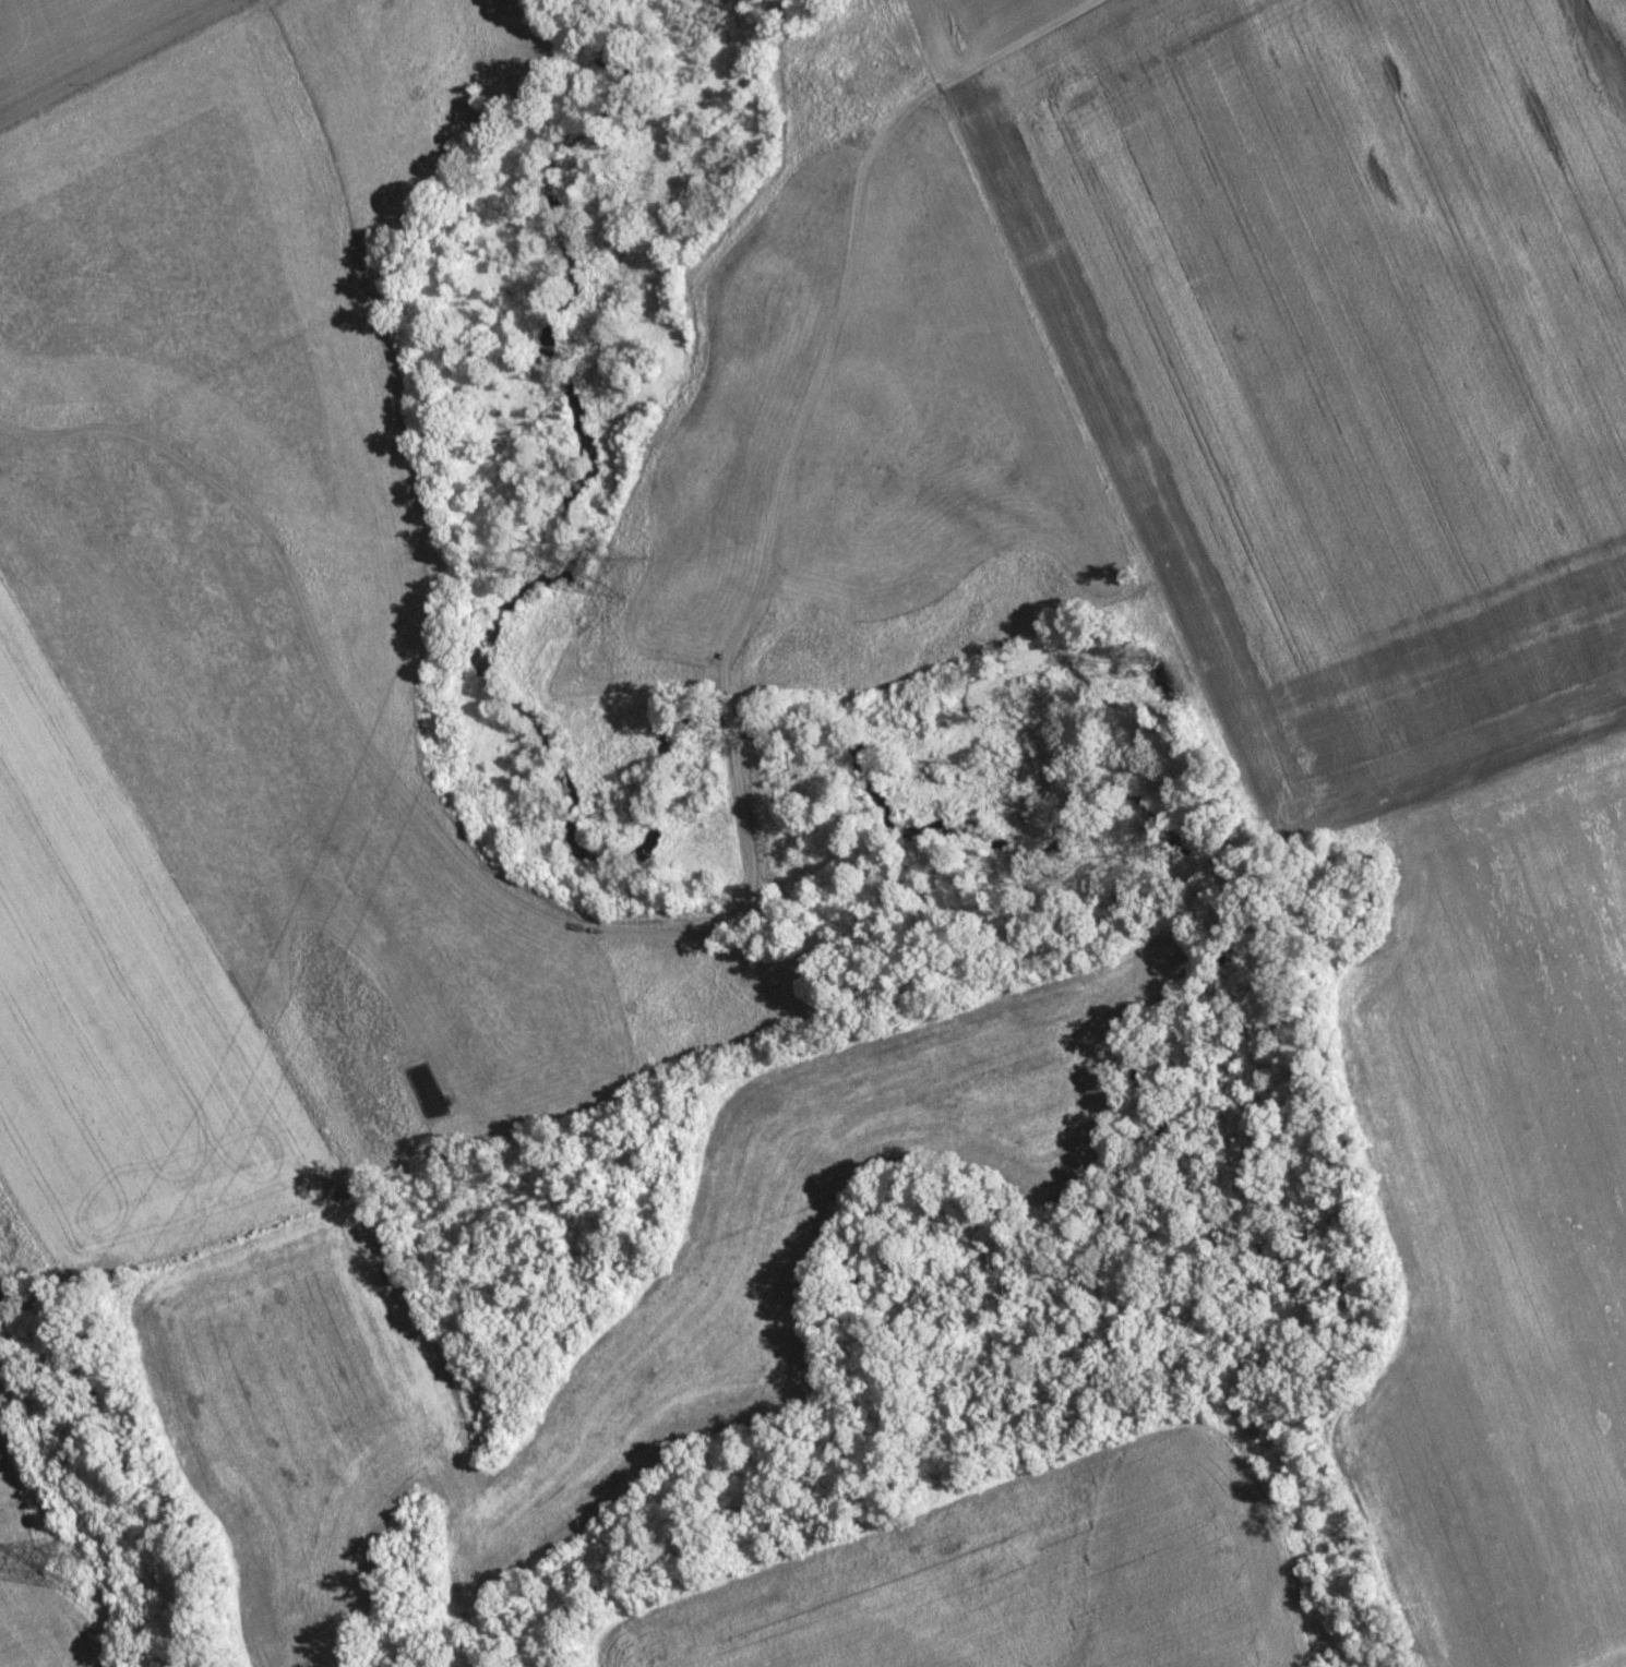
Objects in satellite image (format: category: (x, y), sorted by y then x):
power tower: (617, 568)
power tower: (75, 1560)

